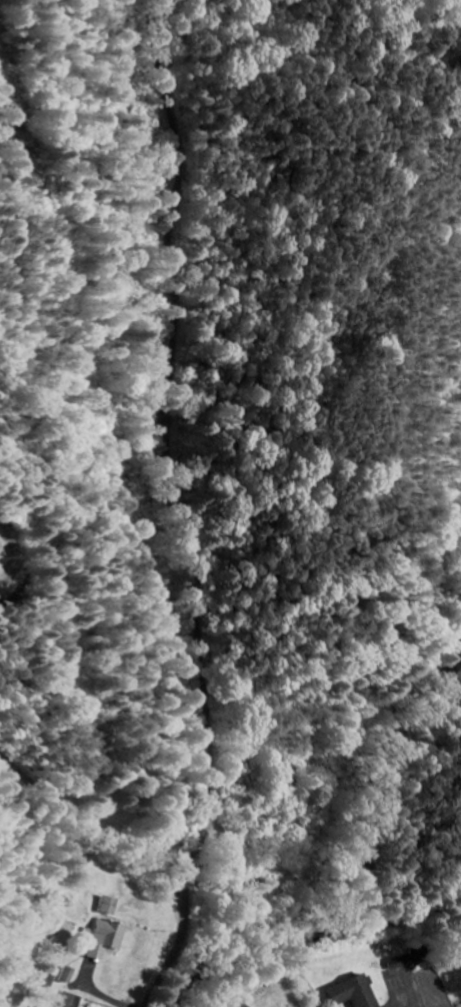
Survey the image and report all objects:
road: (85, 399)
road: (180, 506)
road: (360, 792)
building: (102, 938)
building: (349, 992)
building: (75, 1000)
building: (239, 1004)

